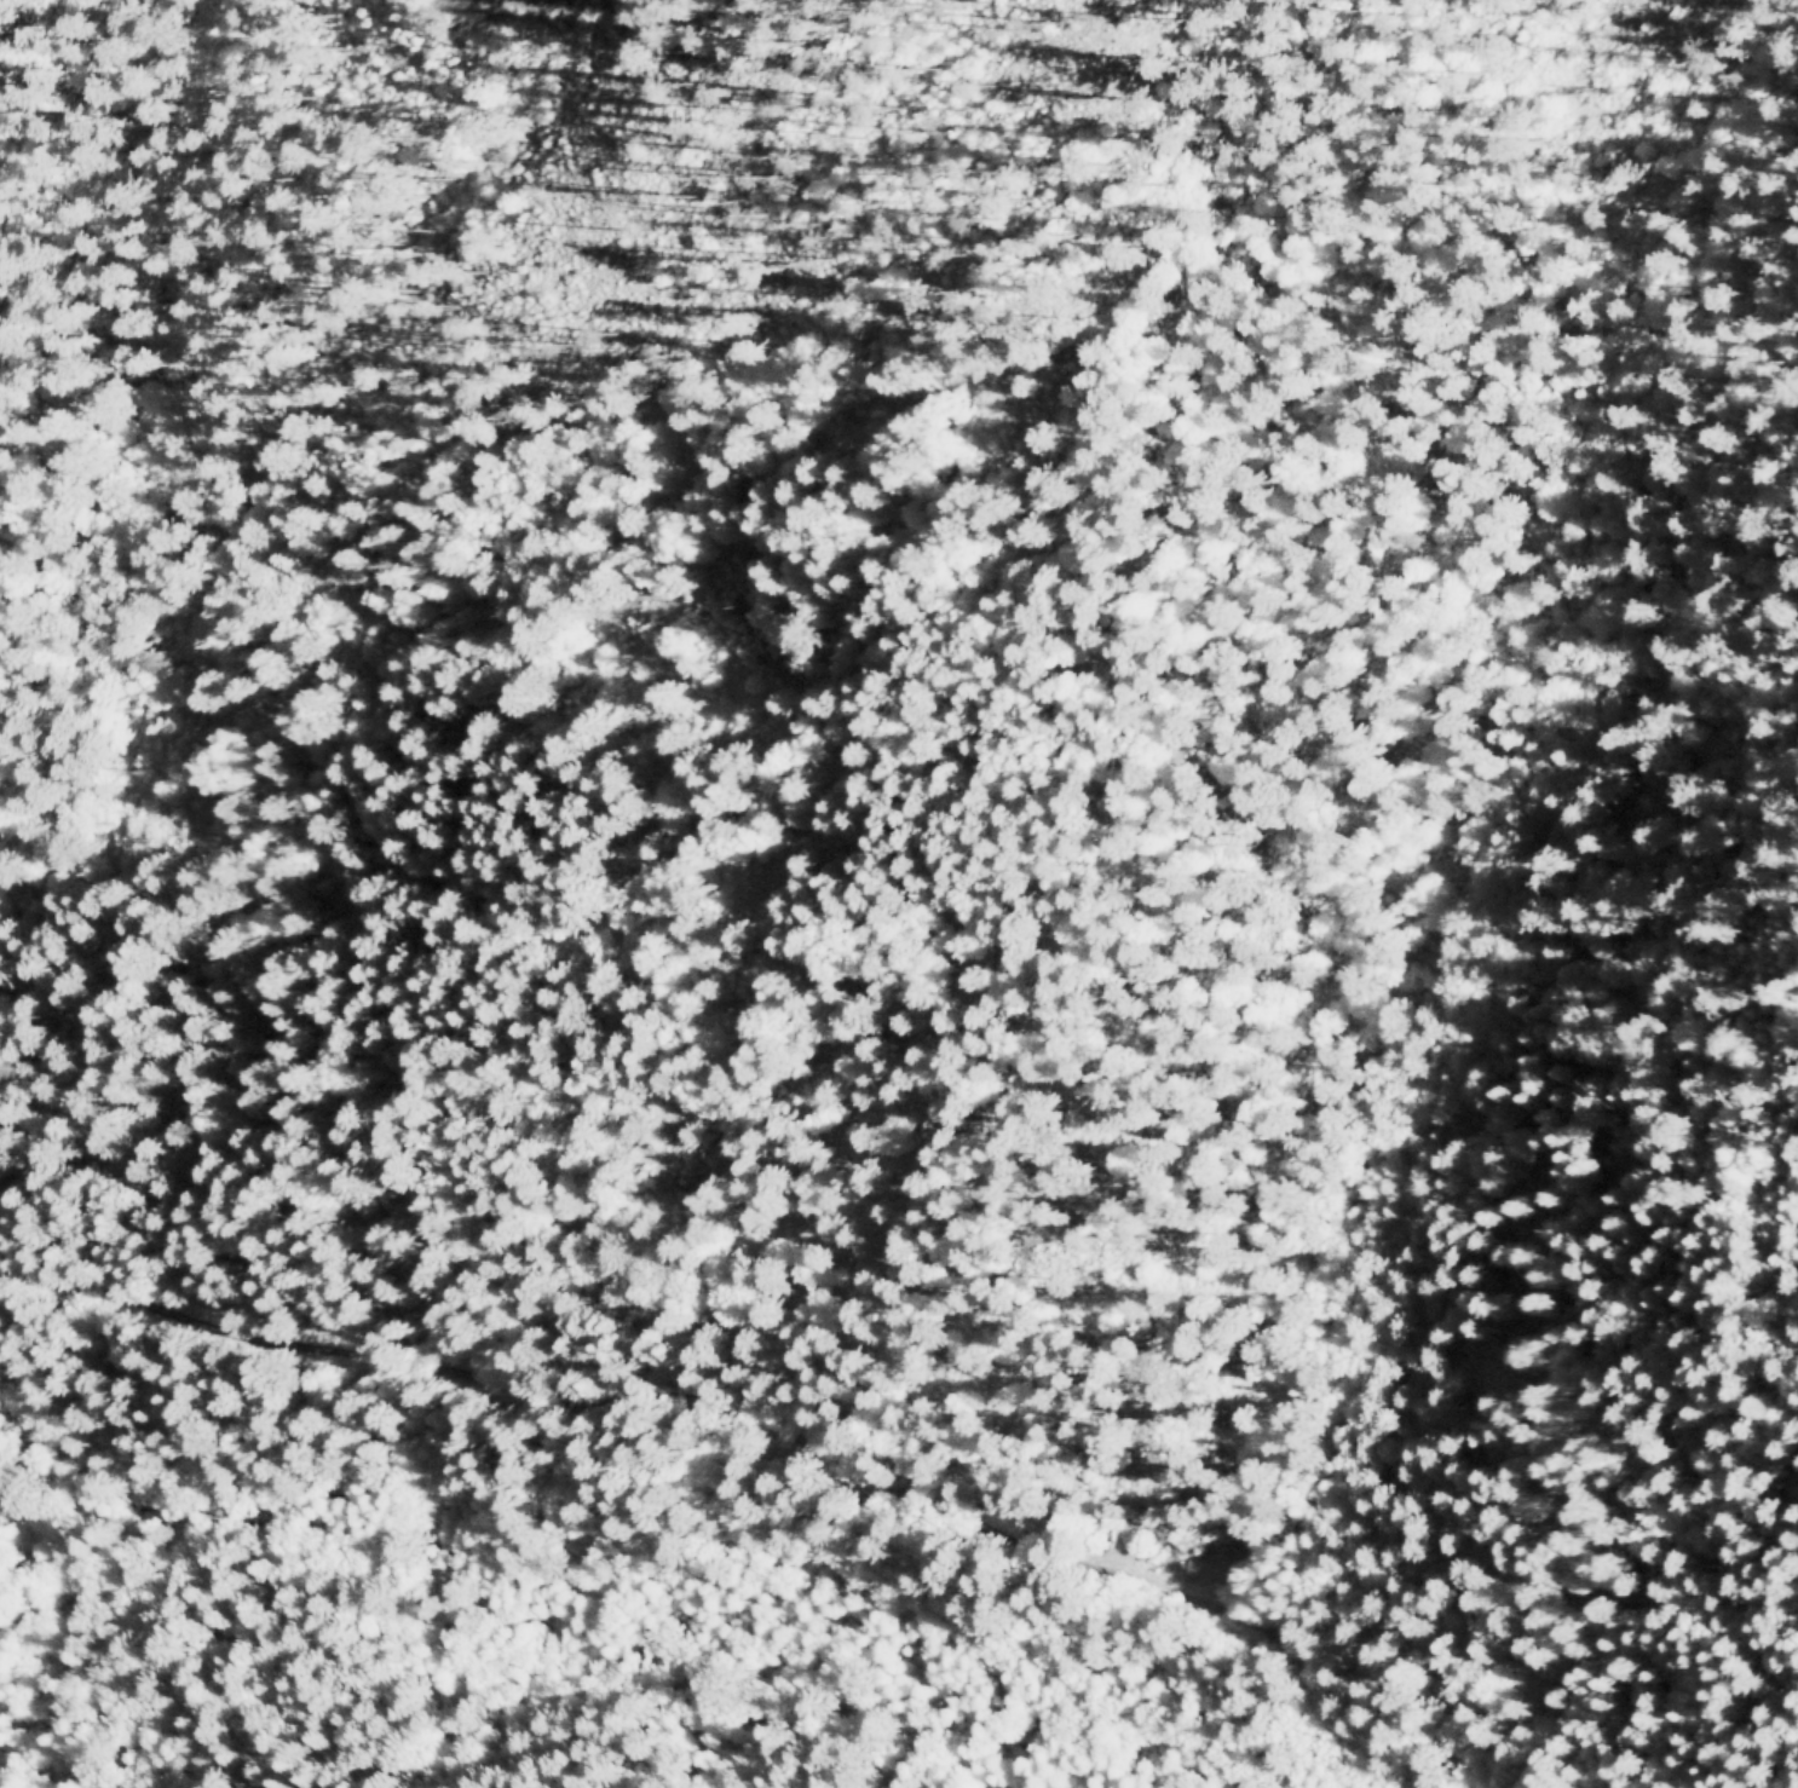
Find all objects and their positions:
road: (772, 1430)

